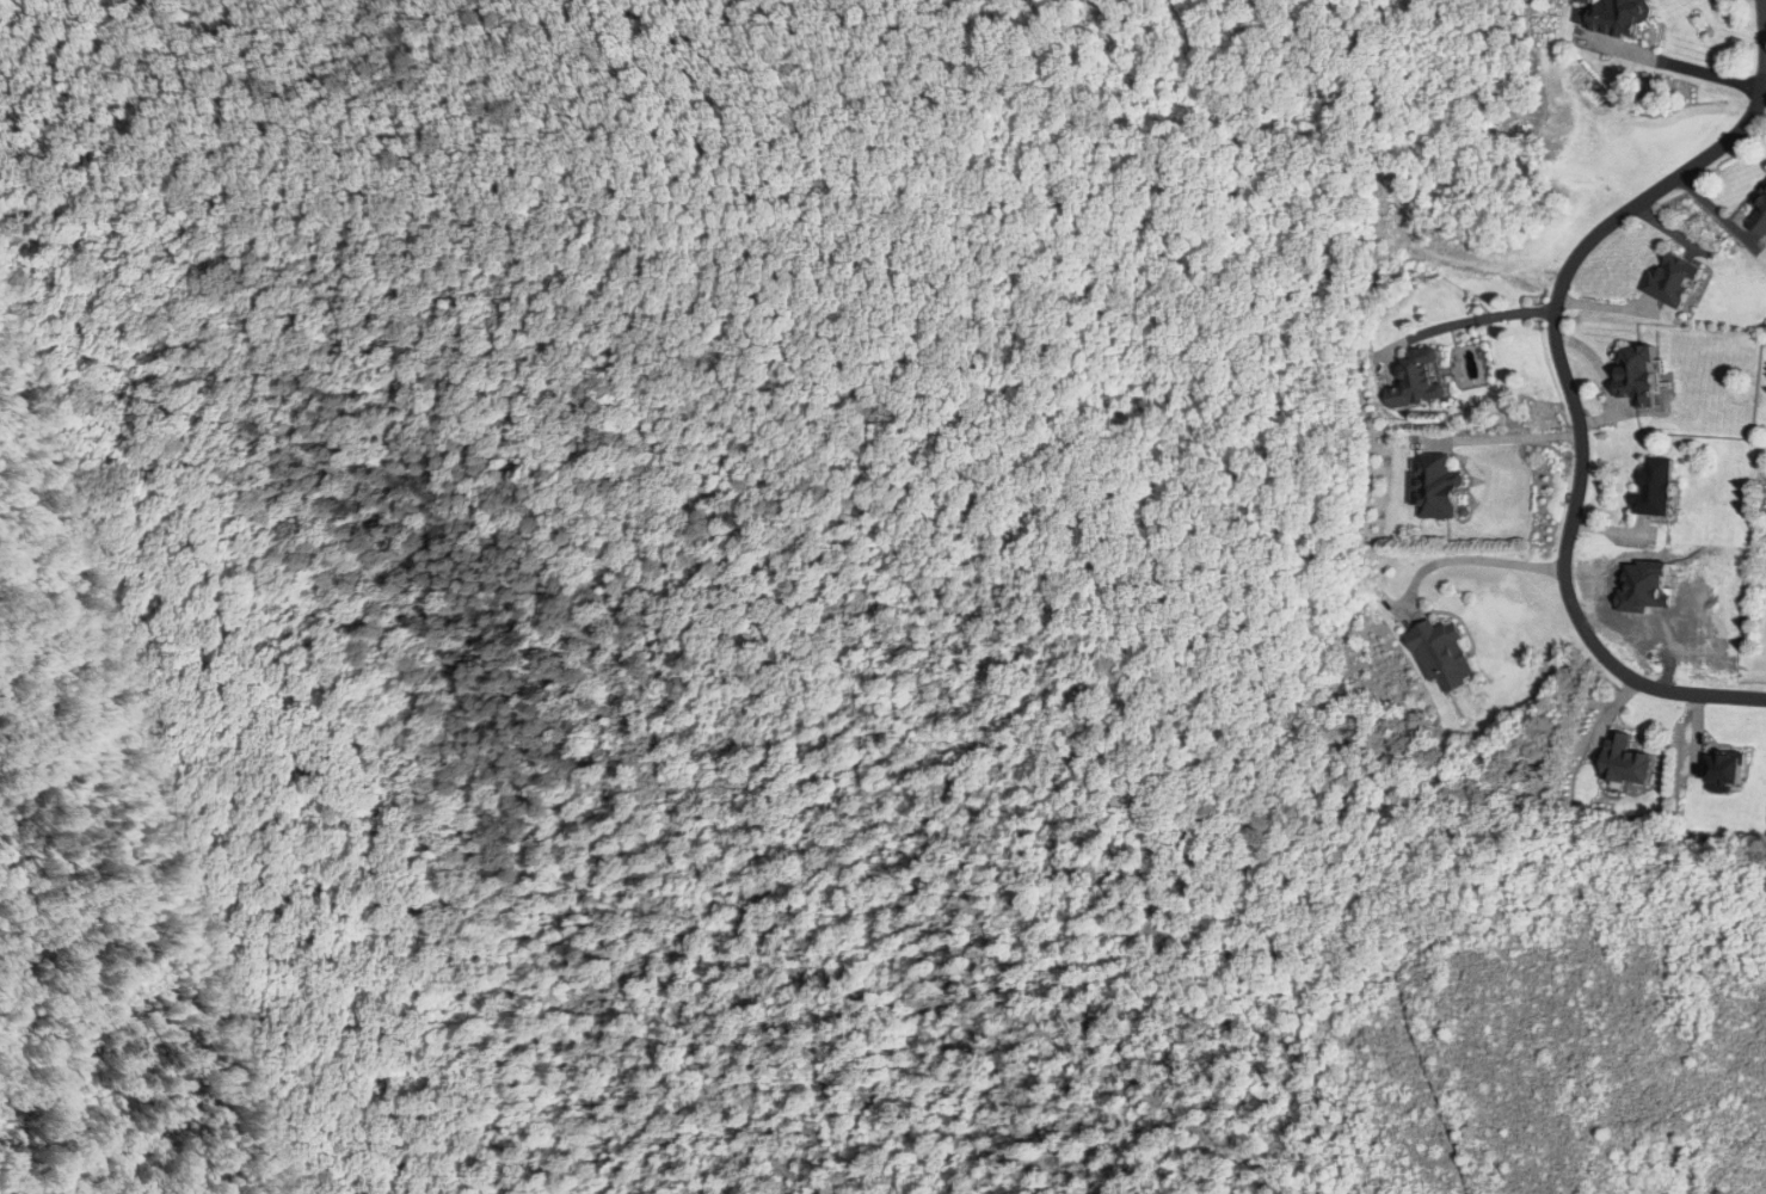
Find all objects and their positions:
building: (1618, 17)
road: (1682, 66)
building: (1759, 216)
building: (1673, 282)
road: (1471, 319)
road: (1564, 374)
building: (1638, 376)
building: (1419, 378)
road: (1507, 438)
building: (1435, 486)
building: (1655, 487)
road: (1467, 558)
building: (1441, 654)
building: (1626, 759)
building: (1727, 765)

